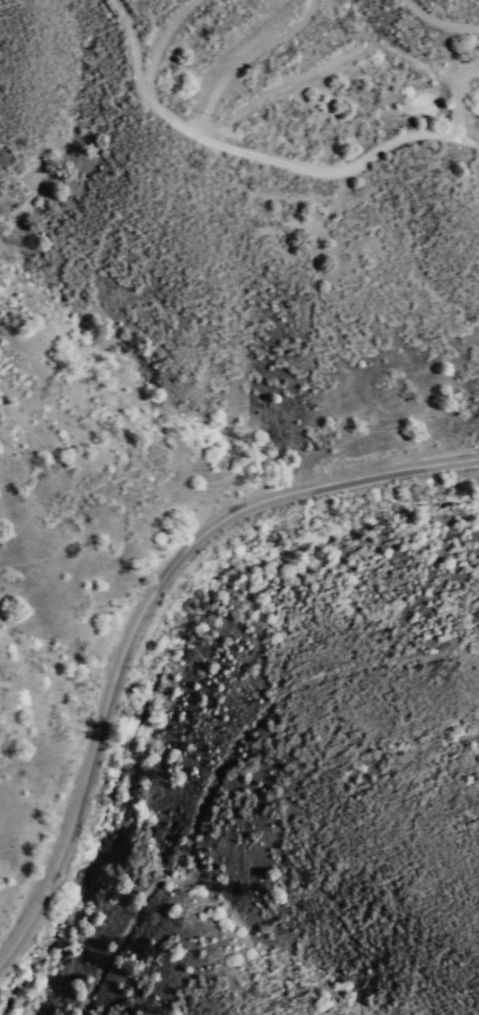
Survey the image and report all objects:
road: (271, 158)
road: (150, 610)

